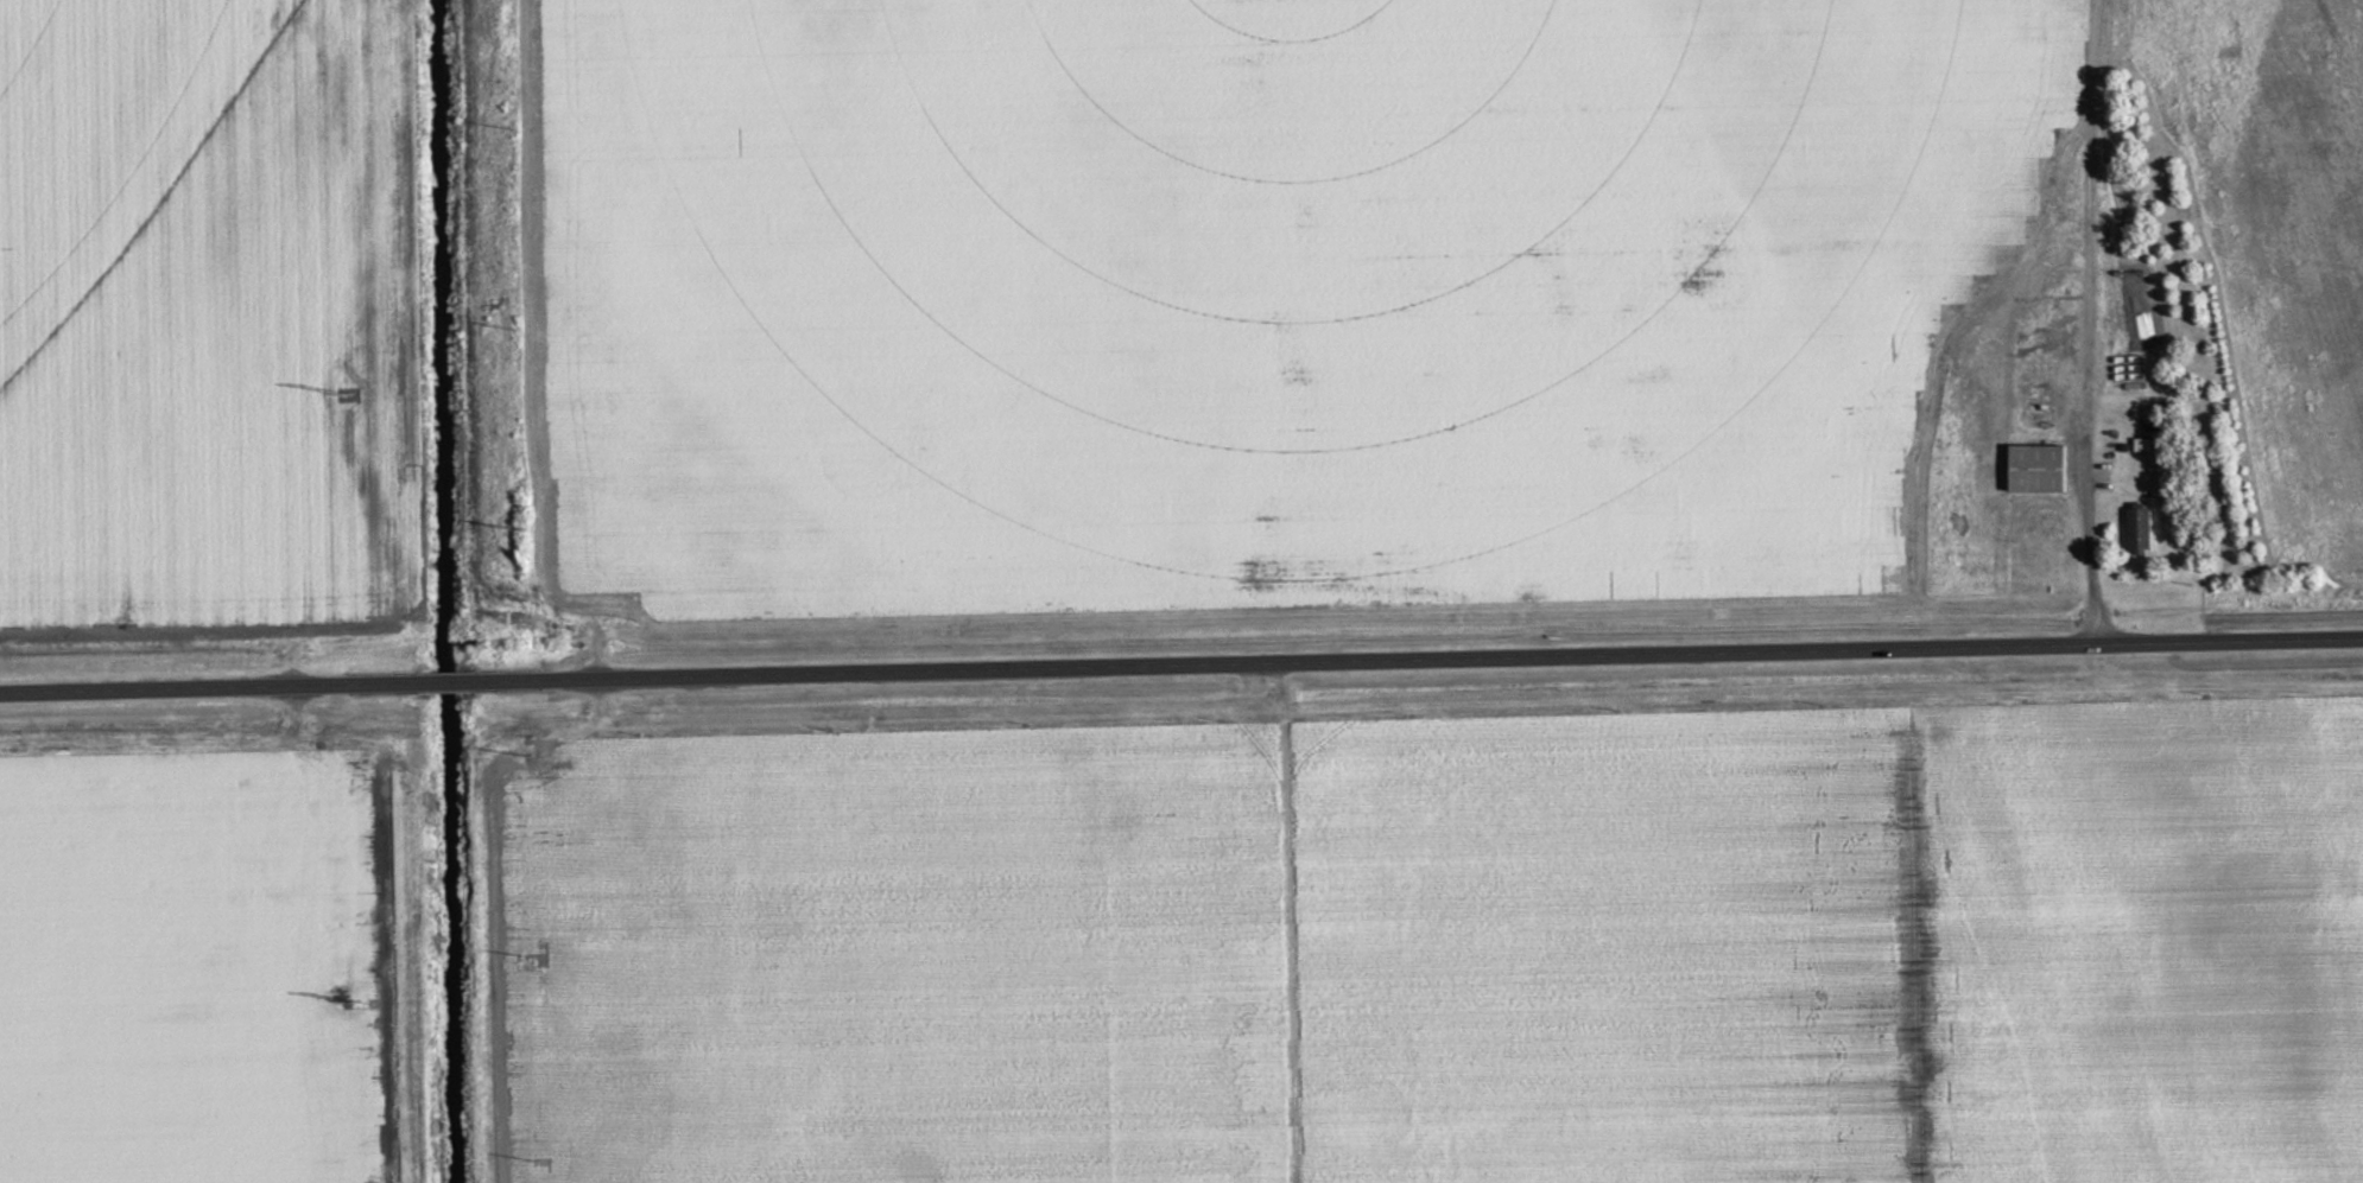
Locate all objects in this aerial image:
road: (2088, 405)
building: (2038, 470)
building: (2139, 530)
road: (479, 650)
road: (1181, 661)
road: (1248, 744)

